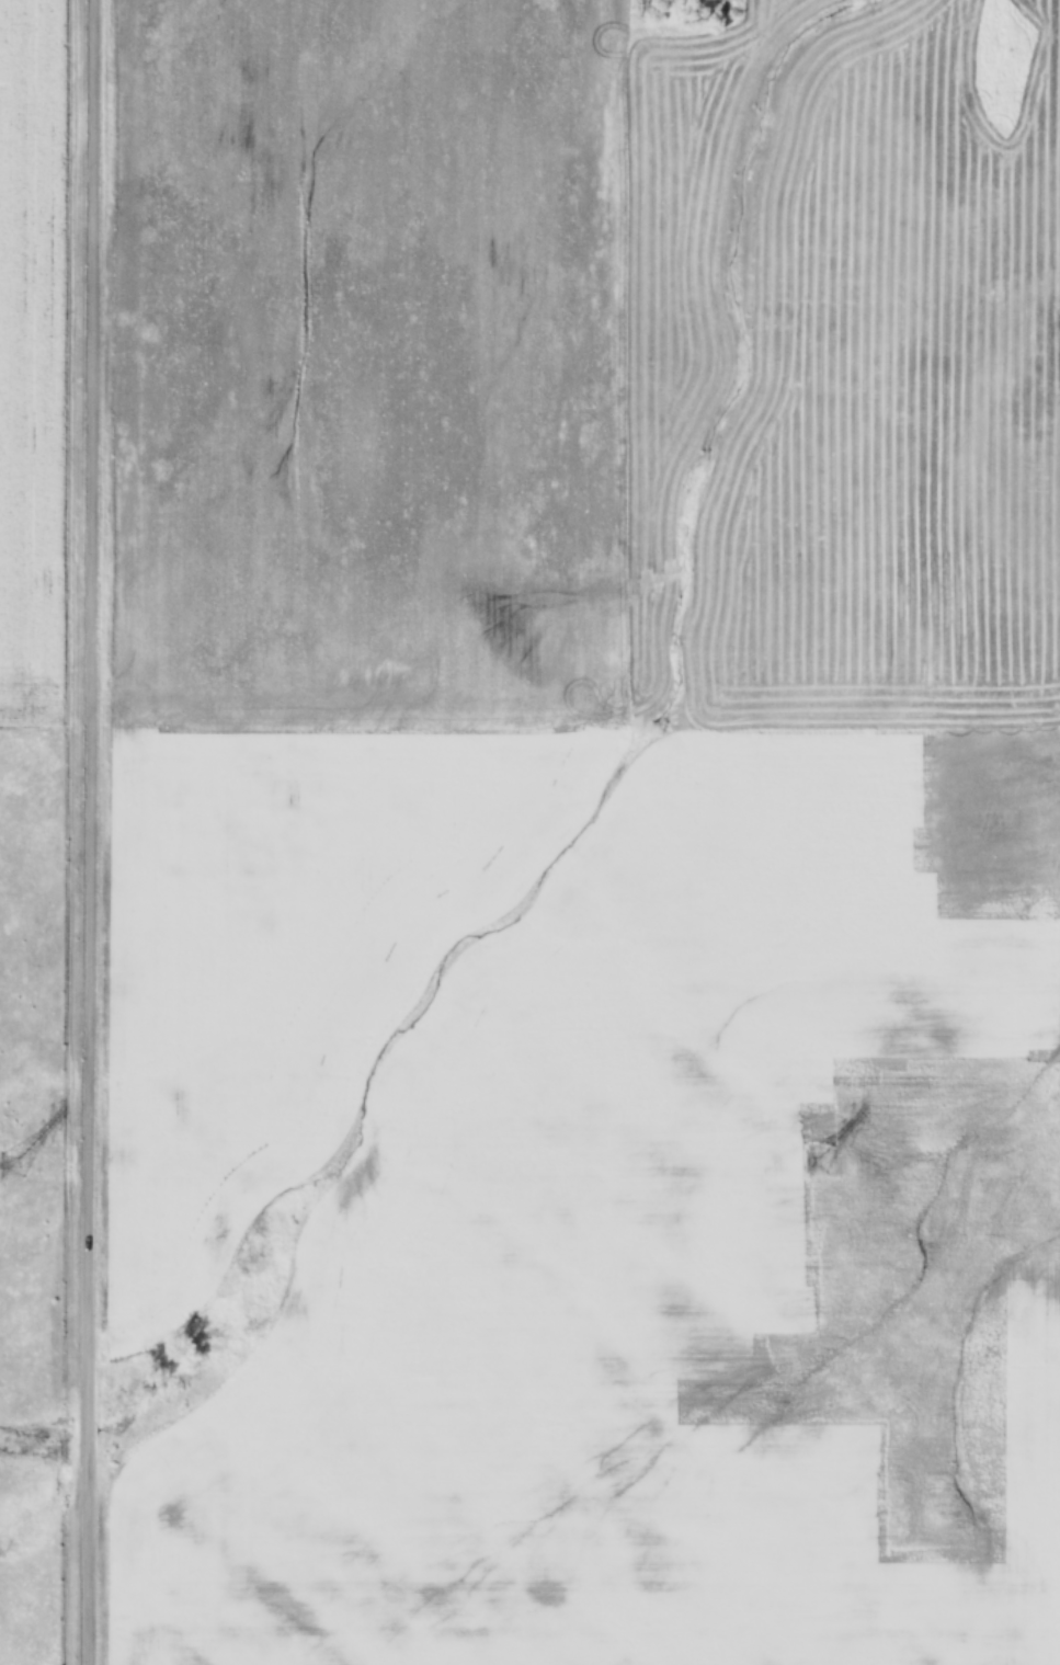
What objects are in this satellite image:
road: (88, 832)
power tower: (821, 1163)
power tower: (14, 1166)

